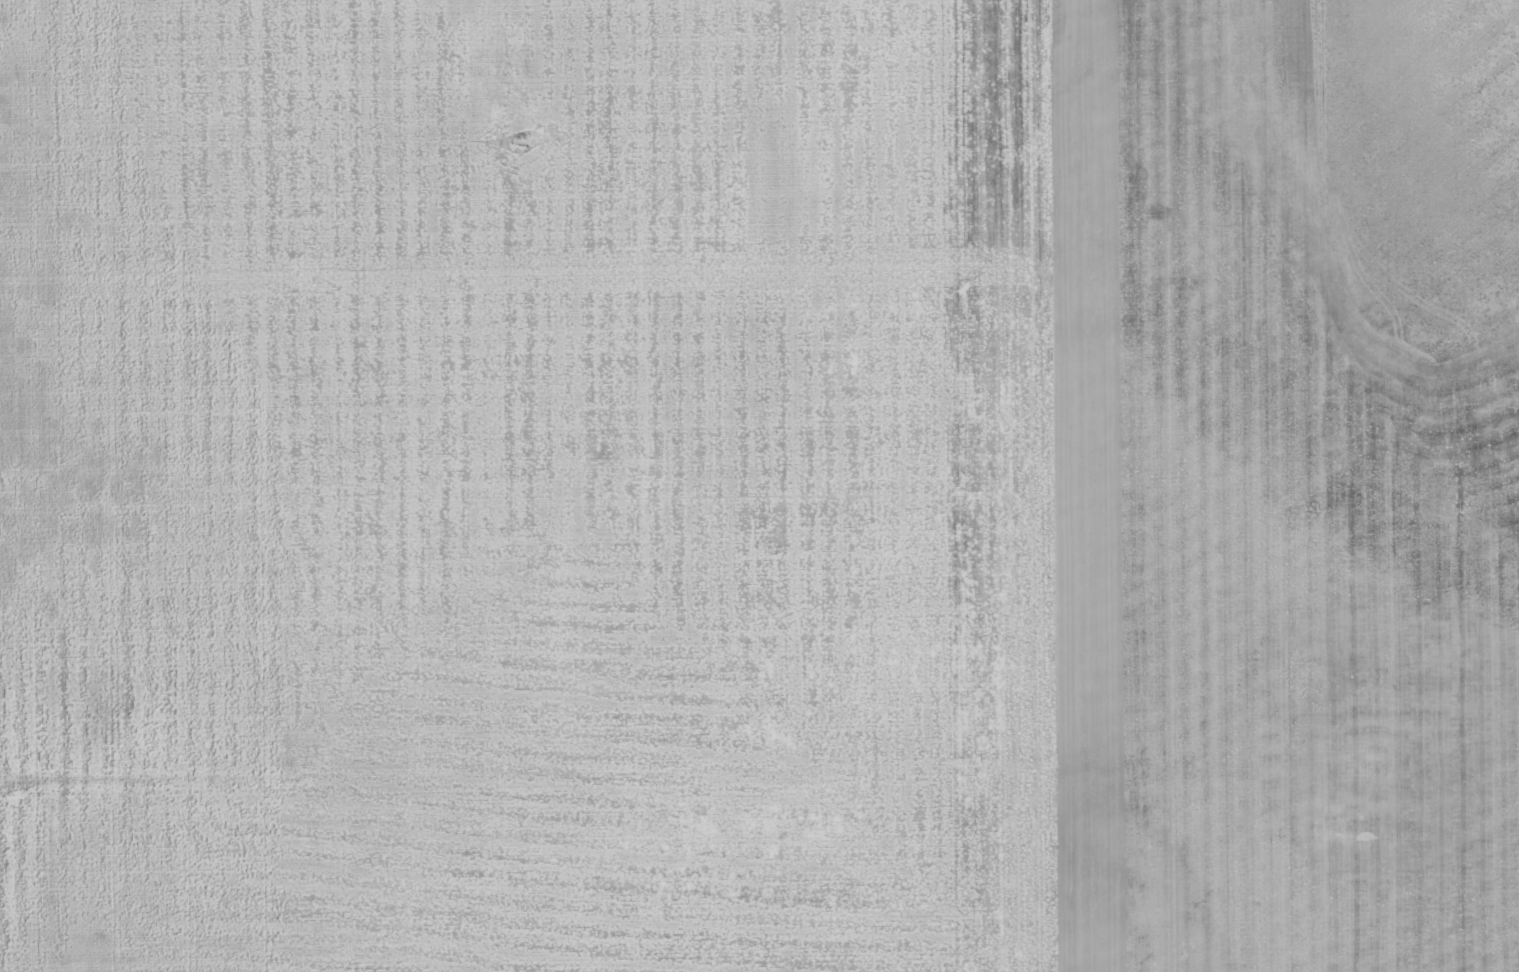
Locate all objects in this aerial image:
road: (240, 149)

